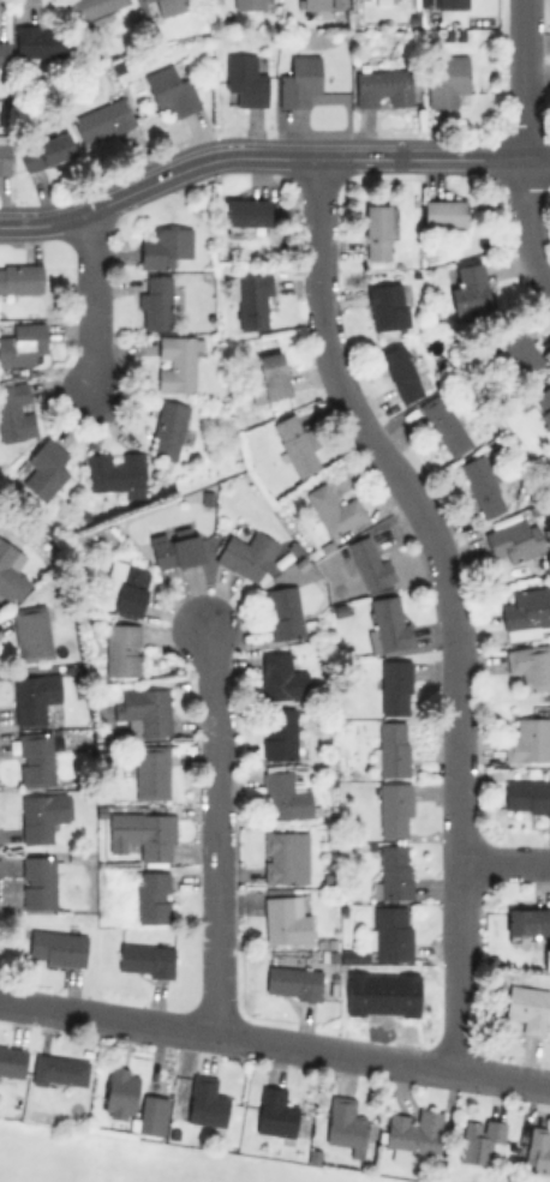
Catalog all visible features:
building: (143, 0)
building: (444, 2)
building: (246, 4)
building: (322, 4)
building: (168, 6)
building: (92, 7)
building: (38, 41)
building: (4, 53)
building: (244, 78)
road: (521, 78)
building: (446, 79)
building: (299, 80)
building: (382, 86)
building: (171, 88)
building: (101, 119)
building: (46, 150)
building: (5, 152)
road: (268, 160)
building: (245, 211)
building: (444, 212)
road: (527, 223)
building: (377, 232)
building: (163, 246)
building: (20, 277)
building: (468, 288)
building: (250, 299)
building: (154, 300)
building: (385, 305)
road: (89, 307)
building: (22, 343)
building: (519, 350)
building: (177, 360)
building: (400, 372)
building: (268, 378)
building: (543, 401)
building: (14, 410)
building: (444, 424)
building: (167, 430)
building: (295, 444)
building: (46, 467)
building: (116, 473)
building: (482, 485)
building: (333, 509)
building: (513, 539)
building: (175, 547)
building: (245, 553)
building: (369, 562)
building: (11, 571)
building: (130, 588)
road: (453, 598)
building: (282, 611)
building: (525, 612)
building: (388, 622)
building: (31, 631)
building: (122, 648)
building: (530, 665)
building: (281, 677)
building: (394, 685)
building: (32, 696)
building: (143, 710)
building: (279, 733)
building: (528, 739)
building: (391, 748)
building: (35, 758)
building: (151, 770)
building: (286, 794)
building: (527, 797)
building: (394, 808)
building: (41, 815)
road: (215, 829)
building: (143, 833)
building: (285, 857)
road: (504, 863)
building: (393, 870)
building: (37, 881)
building: (151, 896)
building: (286, 919)
building: (527, 922)
building: (390, 931)
building: (56, 947)
building: (144, 959)
building: (292, 980)
building: (385, 992)
building: (527, 1007)
road: (275, 1039)
building: (12, 1060)
building: (59, 1070)
building: (119, 1092)
building: (205, 1102)
building: (274, 1111)
building: (151, 1114)
building: (343, 1123)
building: (413, 1133)
building: (479, 1138)
building: (537, 1148)

